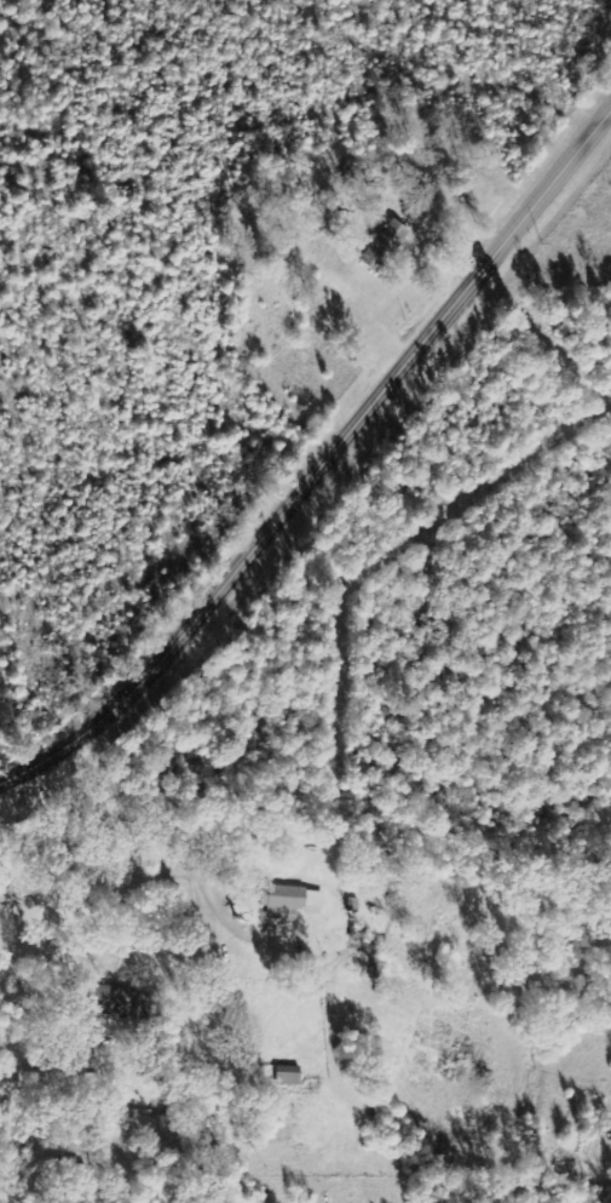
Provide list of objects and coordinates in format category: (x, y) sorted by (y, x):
building: (385, 246)
road: (321, 464)
building: (293, 899)
building: (119, 1002)
building: (288, 1077)

